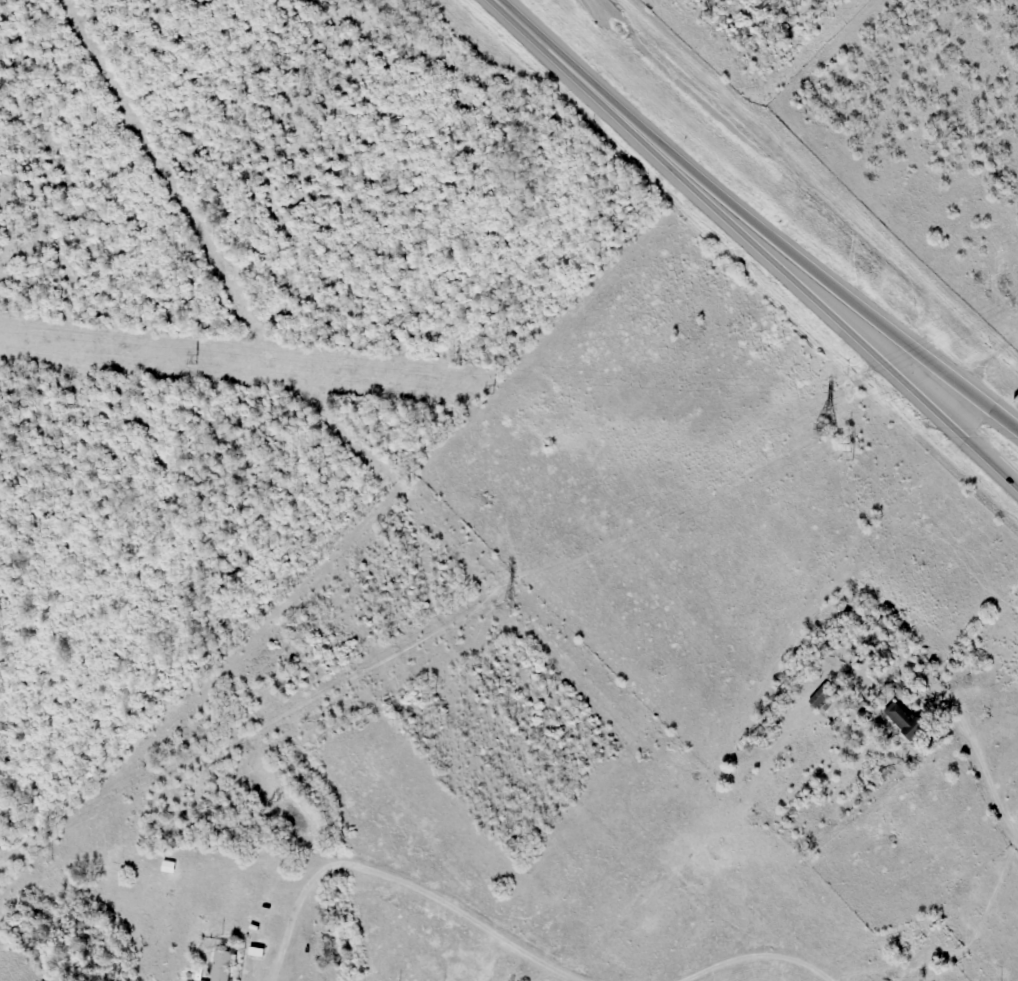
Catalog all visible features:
road: (553, 54)
road: (811, 270)
road: (801, 288)
power tower: (193, 356)
power tower: (488, 385)
road: (968, 414)
power tower: (822, 430)
power tower: (846, 449)
road: (1008, 474)
power tower: (506, 607)
building: (821, 699)
building: (903, 720)
power tower: (45, 854)
building: (220, 965)
building: (194, 976)

